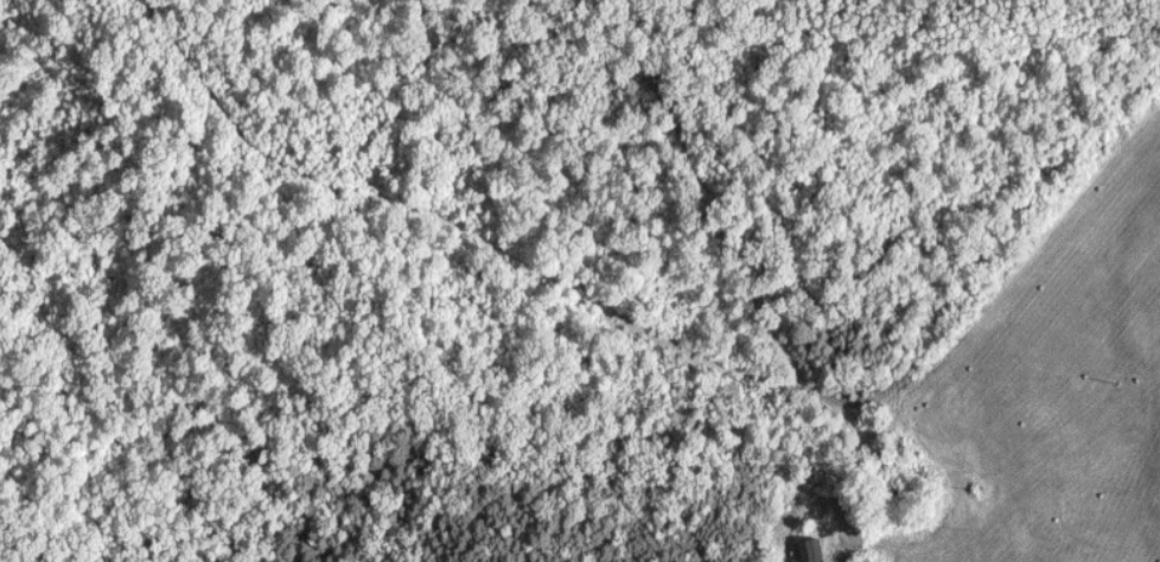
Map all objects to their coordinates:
road: (1016, 205)
building: (818, 551)

